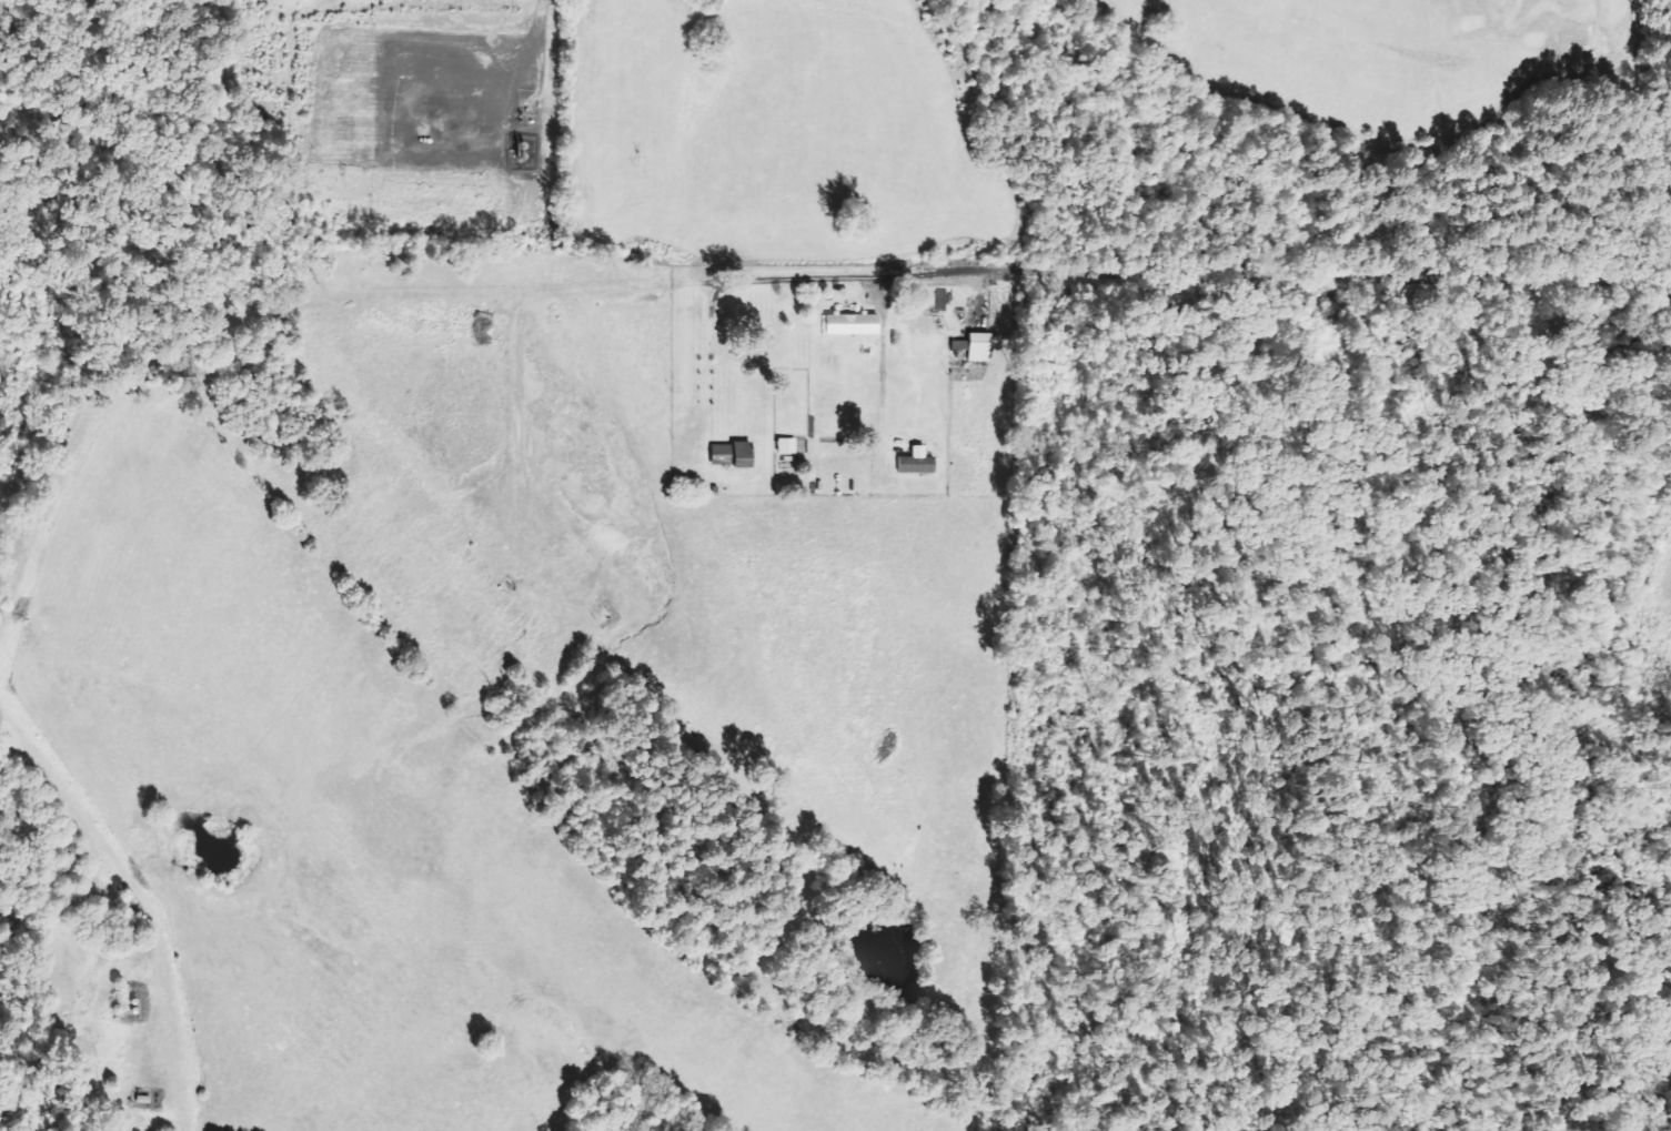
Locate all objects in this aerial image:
road: (1205, 275)
building: (853, 323)
building: (977, 345)
building: (786, 444)
building: (733, 453)
building: (916, 461)

